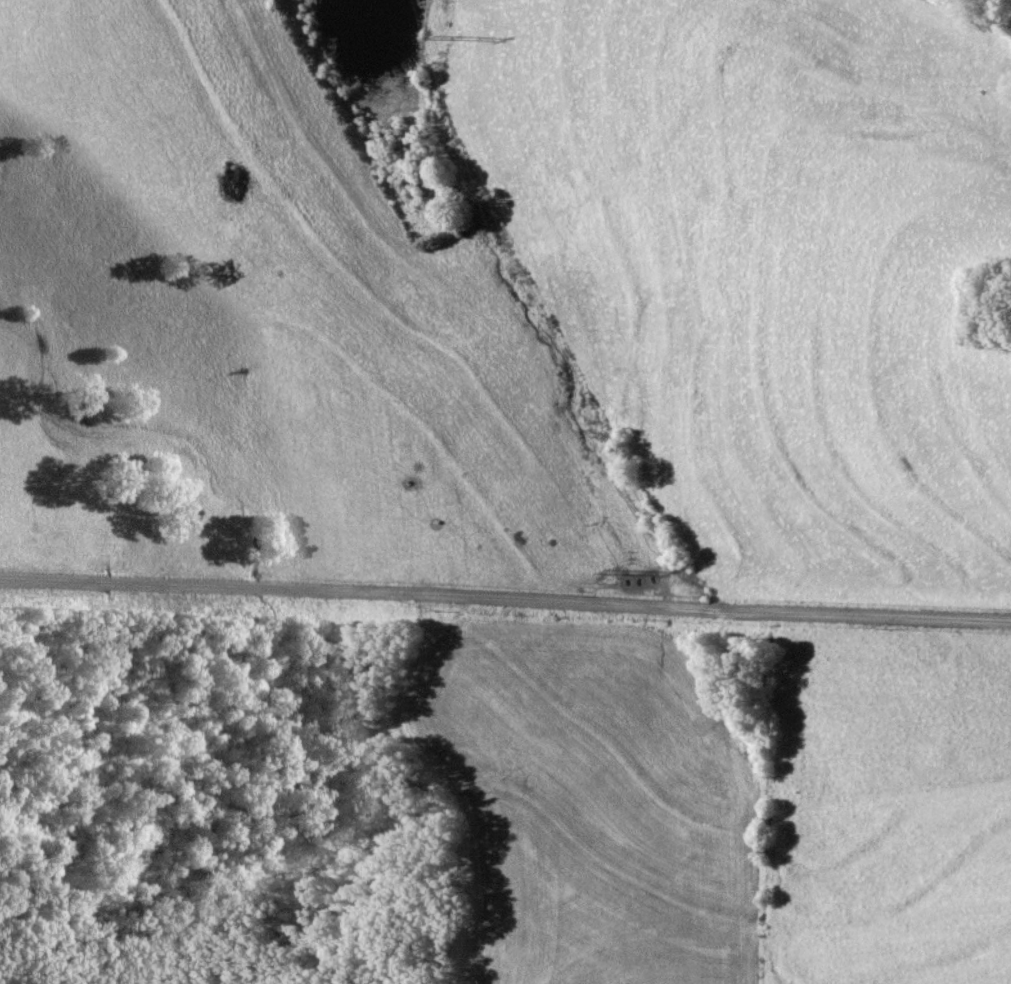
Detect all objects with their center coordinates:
road: (505, 597)

